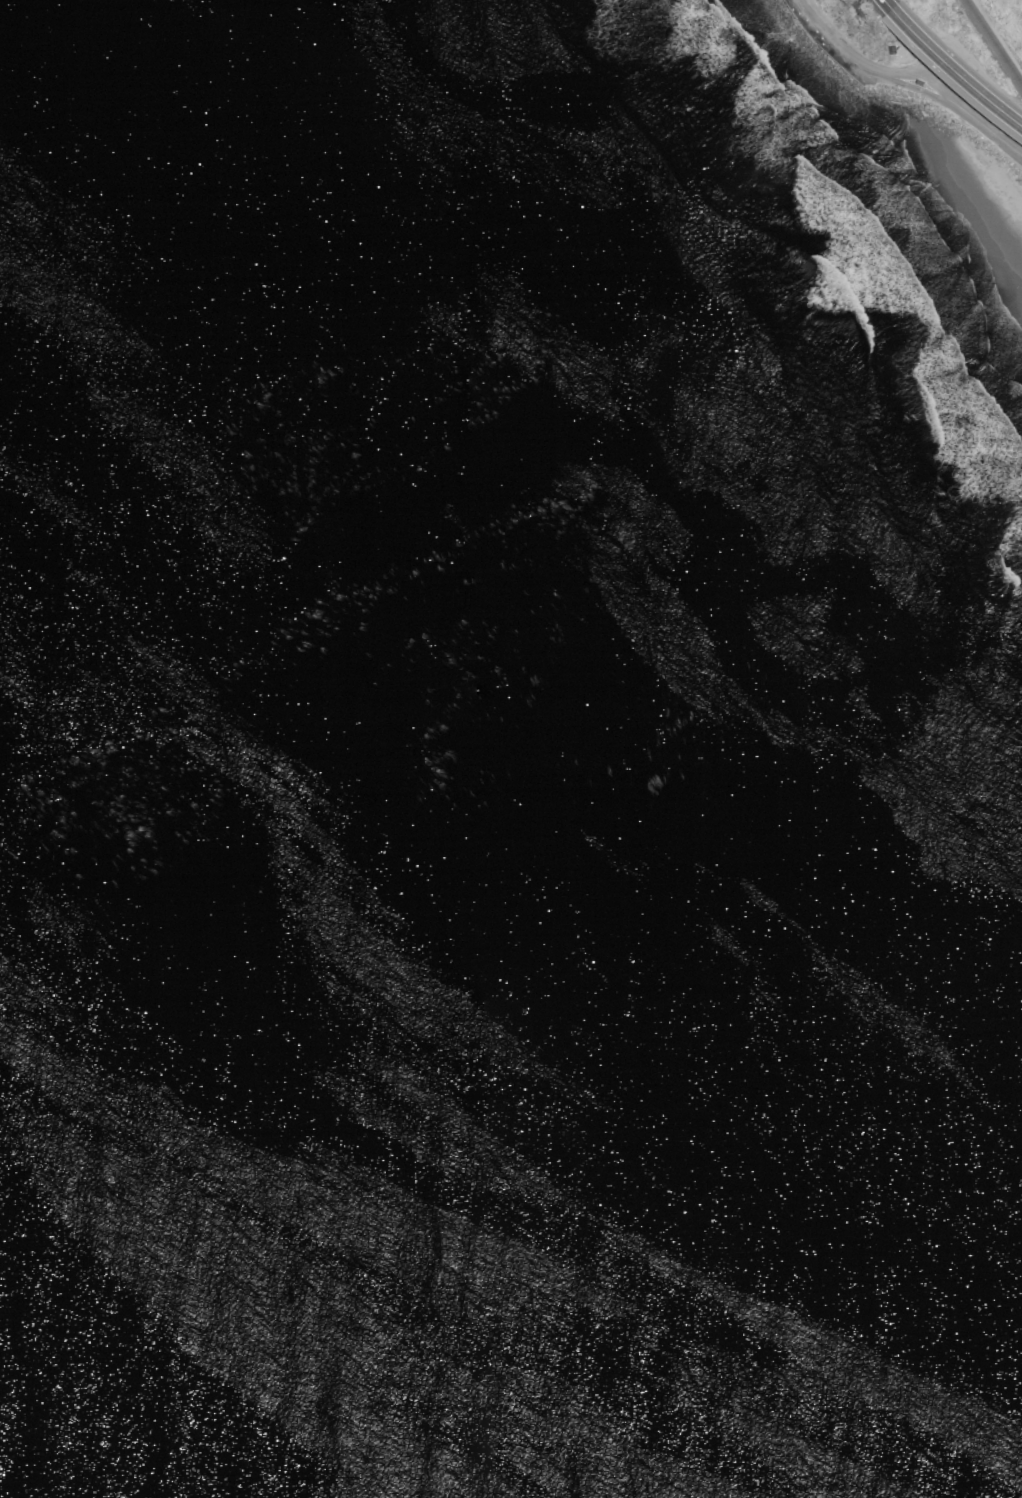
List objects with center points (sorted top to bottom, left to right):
railway: (994, 41)
road: (948, 69)
road: (906, 82)

